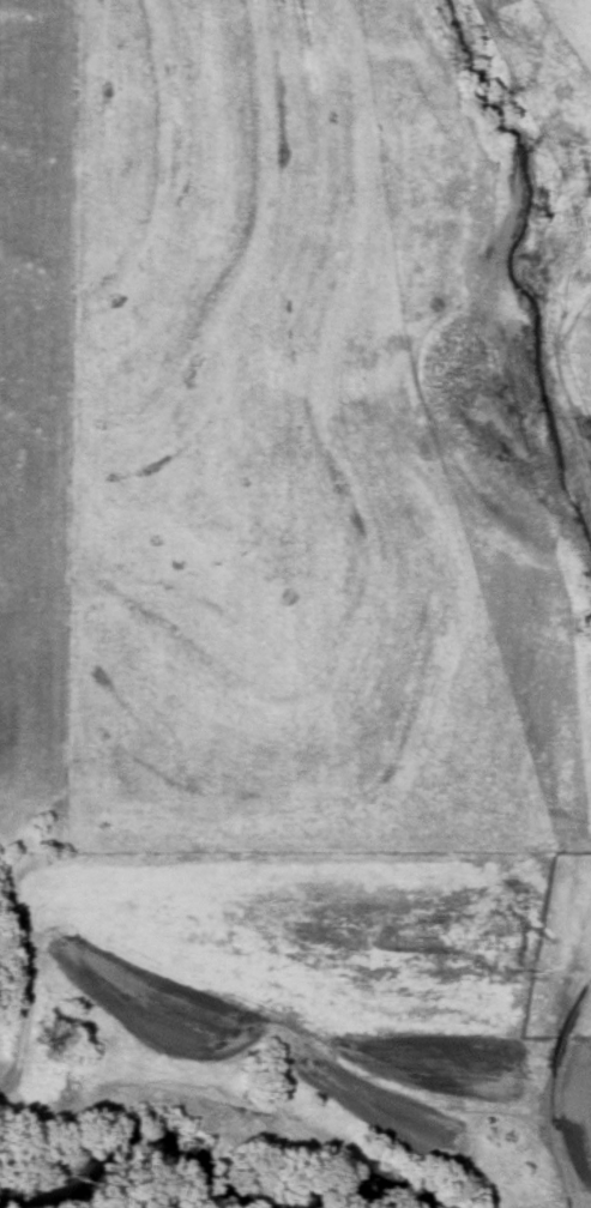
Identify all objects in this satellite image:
river: (144, 1155)
river: (394, 1202)

